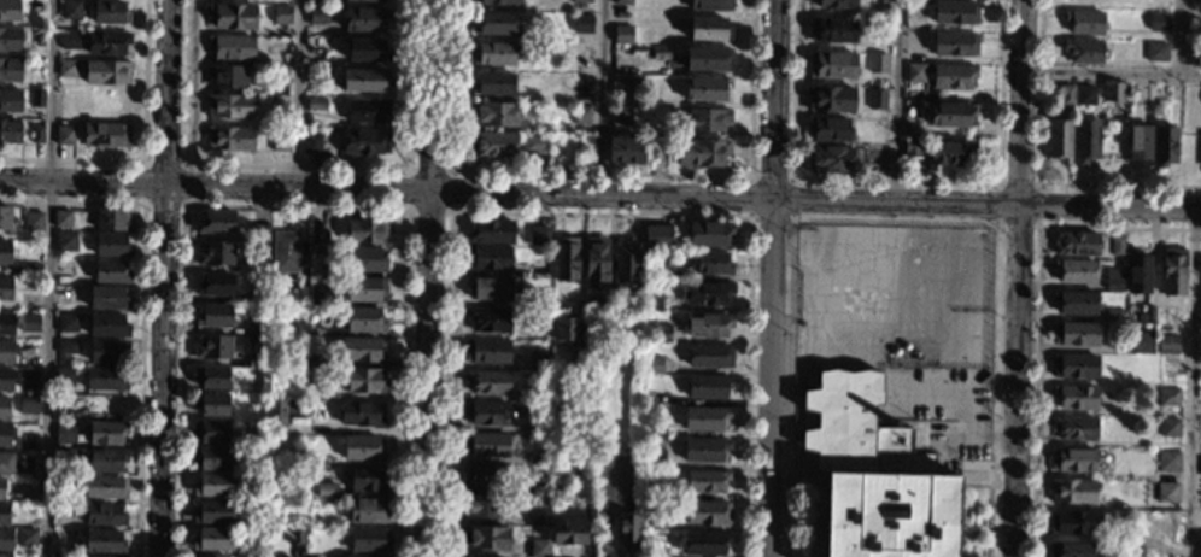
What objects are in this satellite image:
building: (371, 0)
building: (1197, 0)
building: (580, 1)
building: (497, 2)
building: (622, 2)
building: (879, 2)
building: (710, 5)
building: (836, 5)
building: (70, 10)
building: (8, 11)
building: (955, 12)
building: (110, 13)
building: (281, 16)
building: (1195, 16)
building: (232, 17)
building: (318, 17)
building: (365, 19)
building: (915, 19)
building: (1158, 22)
building: (493, 23)
building: (1083, 23)
building: (582, 24)
building: (708, 29)
building: (831, 30)
building: (622, 34)
building: (37, 37)
road: (1183, 37)
building: (10, 39)
building: (70, 40)
building: (107, 42)
building: (914, 45)
building: (954, 45)
building: (230, 47)
building: (365, 51)
building: (1083, 51)
building: (1155, 52)
building: (493, 53)
building: (315, 58)
building: (707, 59)
building: (877, 63)
building: (831, 65)
building: (66, 69)
building: (10, 70)
building: (107, 72)
building: (915, 72)
road: (1113, 72)
building: (279, 76)
building: (225, 77)
building: (953, 77)
building: (315, 78)
building: (363, 80)
building: (491, 84)
building: (625, 86)
building: (581, 90)
building: (707, 90)
building: (1114, 92)
road: (298, 93)
building: (1065, 95)
building: (1085, 95)
building: (1138, 95)
road: (603, 96)
building: (37, 98)
building: (831, 99)
building: (875, 99)
road: (896, 99)
building: (10, 101)
building: (276, 105)
building: (316, 105)
building: (229, 106)
building: (365, 111)
building: (620, 113)
building: (494, 115)
building: (951, 115)
building: (582, 116)
building: (707, 119)
building: (828, 129)
building: (10, 131)
building: (37, 134)
building: (105, 135)
building: (65, 136)
building: (229, 139)
building: (1085, 140)
building: (280, 141)
building: (1059, 141)
building: (311, 143)
building: (363, 143)
building: (534, 143)
building: (493, 145)
building: (1138, 146)
building: (1165, 146)
building: (912, 148)
building: (622, 149)
building: (657, 153)
building: (701, 153)
building: (948, 154)
building: (830, 159)
road: (600, 192)
building: (5, 217)
building: (61, 218)
building: (112, 219)
building: (33, 221)
building: (216, 222)
building: (259, 233)
building: (367, 233)
building: (491, 233)
building: (708, 234)
building: (539, 236)
building: (656, 238)
building: (65, 241)
building: (1077, 244)
building: (111, 245)
building: (1117, 245)
building: (285, 252)
building: (5, 253)
building: (215, 253)
building: (488, 258)
building: (566, 259)
building: (365, 260)
building: (596, 262)
building: (626, 262)
building: (711, 264)
building: (245, 268)
building: (30, 269)
building: (64, 269)
building: (656, 269)
building: (111, 271)
building: (1074, 271)
building: (1137, 272)
building: (1173, 272)
road: (48, 277)
road: (163, 277)
road: (426, 277)
road: (1017, 277)
road: (771, 278)
building: (1113, 278)
building: (213, 283)
building: (6, 288)
building: (365, 289)
building: (488, 289)
building: (708, 293)
park: (891, 294)
building: (320, 297)
building: (107, 298)
building: (256, 298)
building: (275, 301)
building: (635, 301)
building: (29, 303)
building: (543, 303)
building: (652, 303)
building: (1076, 303)
building: (1149, 313)
building: (213, 315)
building: (1115, 316)
building: (488, 319)
building: (29, 322)
building: (364, 322)
building: (6, 323)
building: (66, 323)
building: (107, 326)
building: (708, 326)
building: (254, 328)
building: (279, 329)
building: (566, 330)
building: (660, 333)
building: (1076, 333)
building: (251, 341)
building: (1141, 342)
building: (265, 345)
building: (1167, 345)
building: (66, 347)
building: (212, 347)
building: (361, 350)
building: (6, 351)
building: (107, 351)
building: (487, 352)
building: (709, 357)
building: (307, 360)
building: (538, 360)
building: (257, 362)
building: (575, 363)
building: (651, 365)
building: (1074, 367)
building: (65, 376)
building: (304, 376)
building: (30, 377)
building: (211, 377)
building: (105, 379)
building: (6, 380)
building: (364, 381)
building: (488, 382)
road: (1189, 382)
building: (708, 387)
building: (540, 395)
building: (1167, 397)
building: (1074, 398)
building: (29, 405)
building: (211, 405)
building: (4, 408)
building: (487, 414)
building: (281, 415)
building: (361, 415)
building: (704, 418)
building: (538, 424)
building: (1074, 428)
building: (1168, 428)
building: (655, 429)
building: (211, 432)
building: (66, 433)
building: (106, 433)
building: (4, 435)
building: (28, 444)
building: (486, 445)
building: (362, 448)
building: (704, 450)
building: (65, 457)
building: (106, 459)
building: (210, 459)
building: (655, 459)
building: (1072, 461)
building: (310, 463)
building: (1168, 463)
building: (16, 464)
building: (485, 476)
building: (874, 476)
building: (369, 481)
building: (705, 481)
building: (213, 485)
building: (11, 487)
building: (105, 487)
building: (1, 488)
building: (326, 489)
building: (539, 491)
building: (1167, 491)
building: (1072, 492)
building: (482, 506)
building: (368, 511)
building: (213, 512)
building: (707, 512)
building: (5, 515)
building: (104, 515)
building: (538, 521)
building: (1074, 522)
building: (253, 524)
building: (656, 524)
building: (1165, 524)
building: (628, 532)
building: (568, 533)
building: (295, 535)
building: (27, 538)
building: (5, 539)
building: (485, 539)
building: (61, 540)
building: (211, 540)
building: (369, 540)
building: (104, 541)
building: (704, 544)
building: (538, 549)
building: (1200, 549)
building: (1071, 550)
building: (655, 553)
building: (5, 555)
building: (61, 556)
building: (99, 556)
building: (210, 556)
building: (283, 556)
building: (364, 556)

